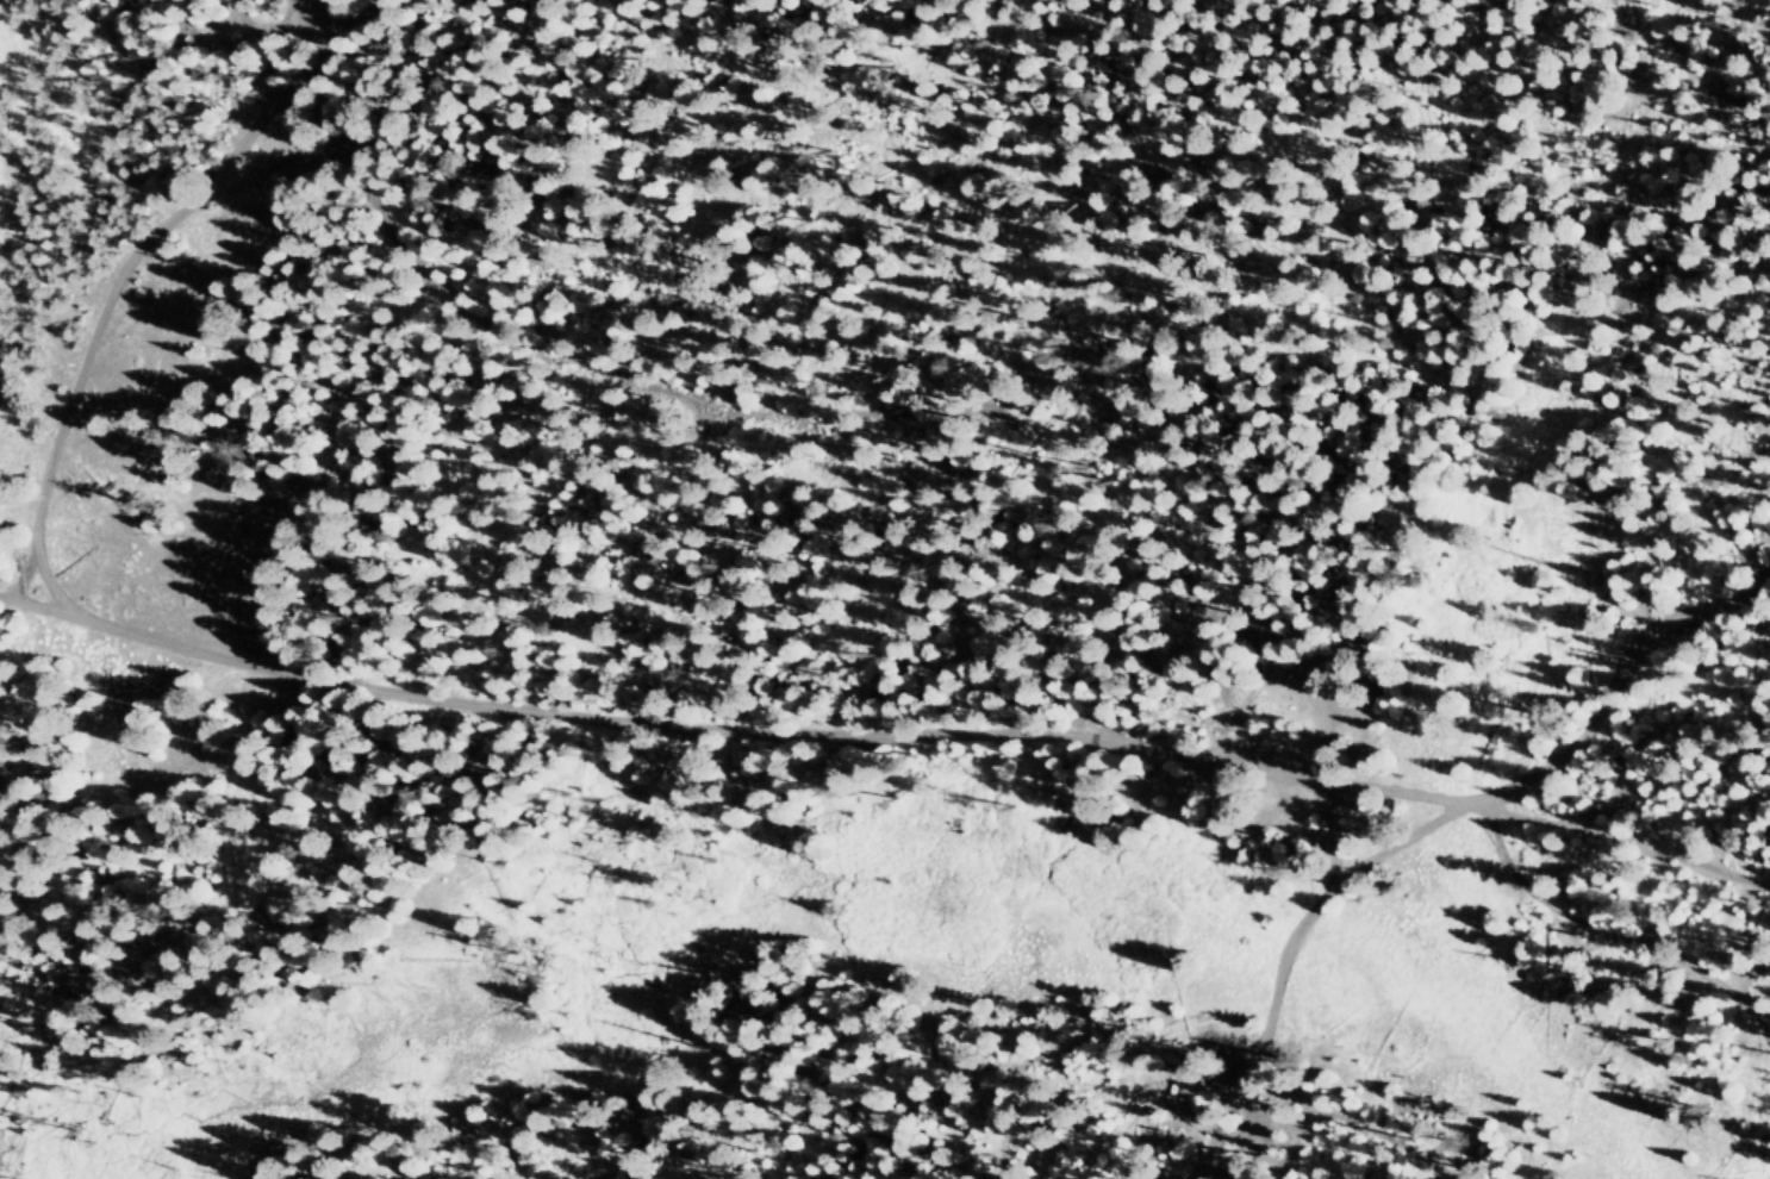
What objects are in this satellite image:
road: (169, 223)
road: (778, 445)
road: (6, 485)
road: (1706, 713)
road: (902, 768)
road: (1607, 938)
road: (1289, 954)

